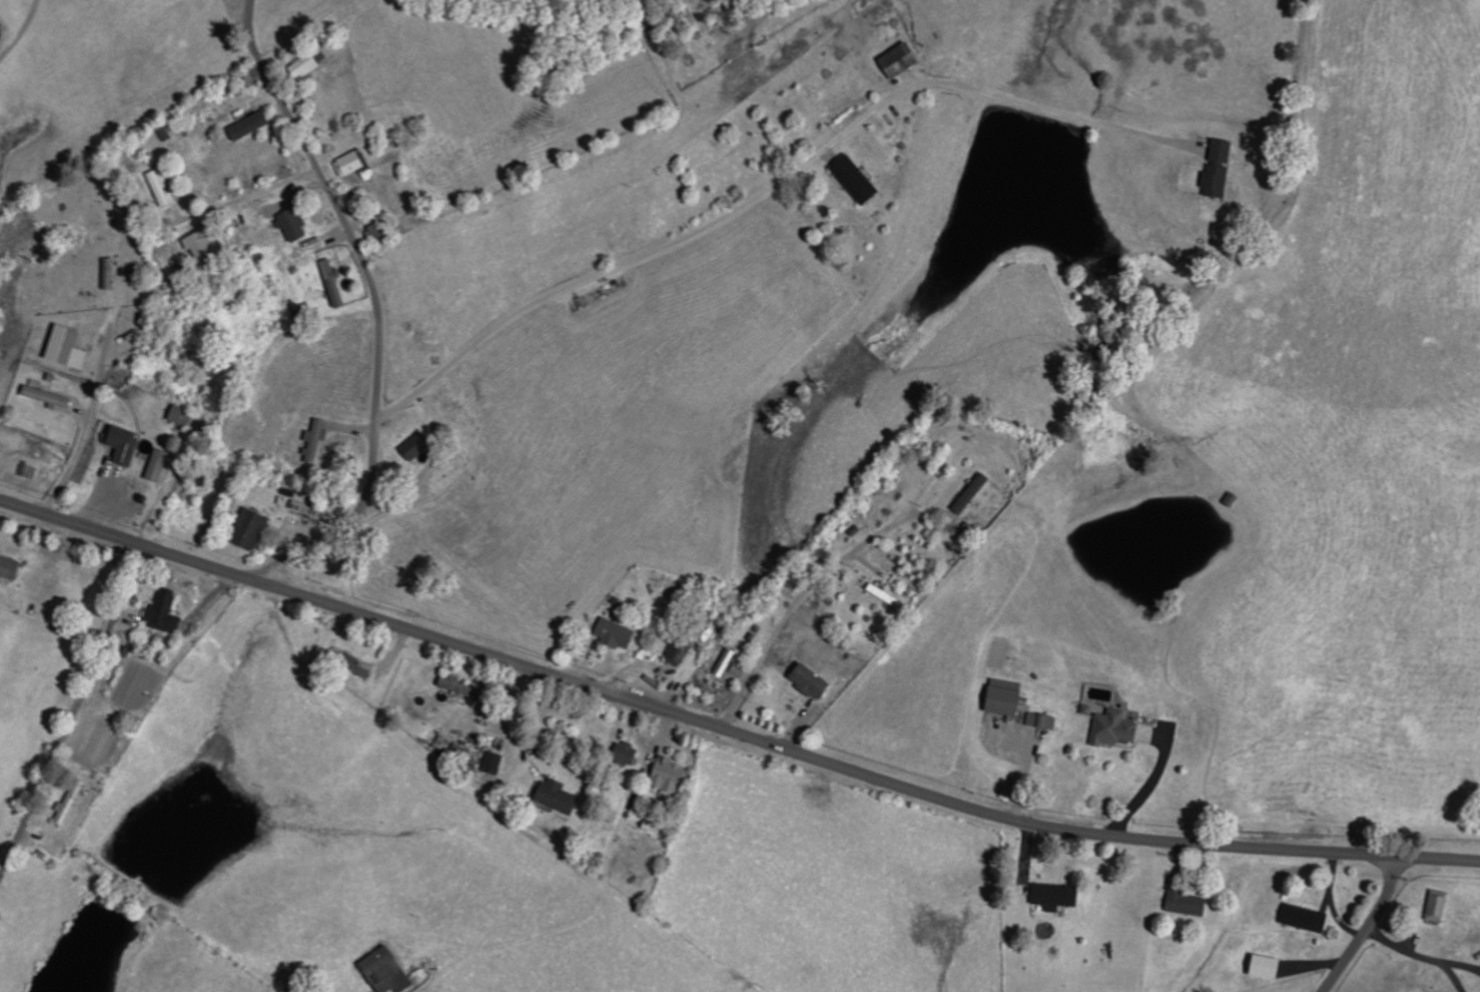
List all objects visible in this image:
building: (905, 60)
building: (310, 66)
building: (254, 126)
building: (1225, 151)
building: (354, 164)
building: (860, 180)
building: (1220, 181)
building: (165, 188)
building: (297, 225)
building: (381, 230)
building: (206, 248)
building: (337, 284)
road: (377, 303)
road: (601, 307)
building: (73, 348)
building: (52, 398)
building: (186, 416)
road: (83, 440)
building: (319, 441)
building: (130, 445)
building: (420, 446)
road: (765, 465)
building: (162, 466)
building: (975, 493)
building: (256, 530)
building: (12, 567)
building: (168, 614)
building: (203, 615)
building: (619, 635)
building: (684, 653)
building: (727, 663)
building: (742, 669)
building: (815, 682)
building: (465, 688)
building: (1010, 698)
road: (73, 712)
building: (1045, 721)
building: (1118, 729)
road: (729, 730)
building: (631, 754)
building: (496, 763)
building: (675, 776)
building: (562, 797)
building: (73, 807)
building: (1061, 897)
building: (1182, 904)
building: (1434, 906)
building: (1302, 918)
road: (1370, 927)
building: (1262, 967)
building: (392, 971)

